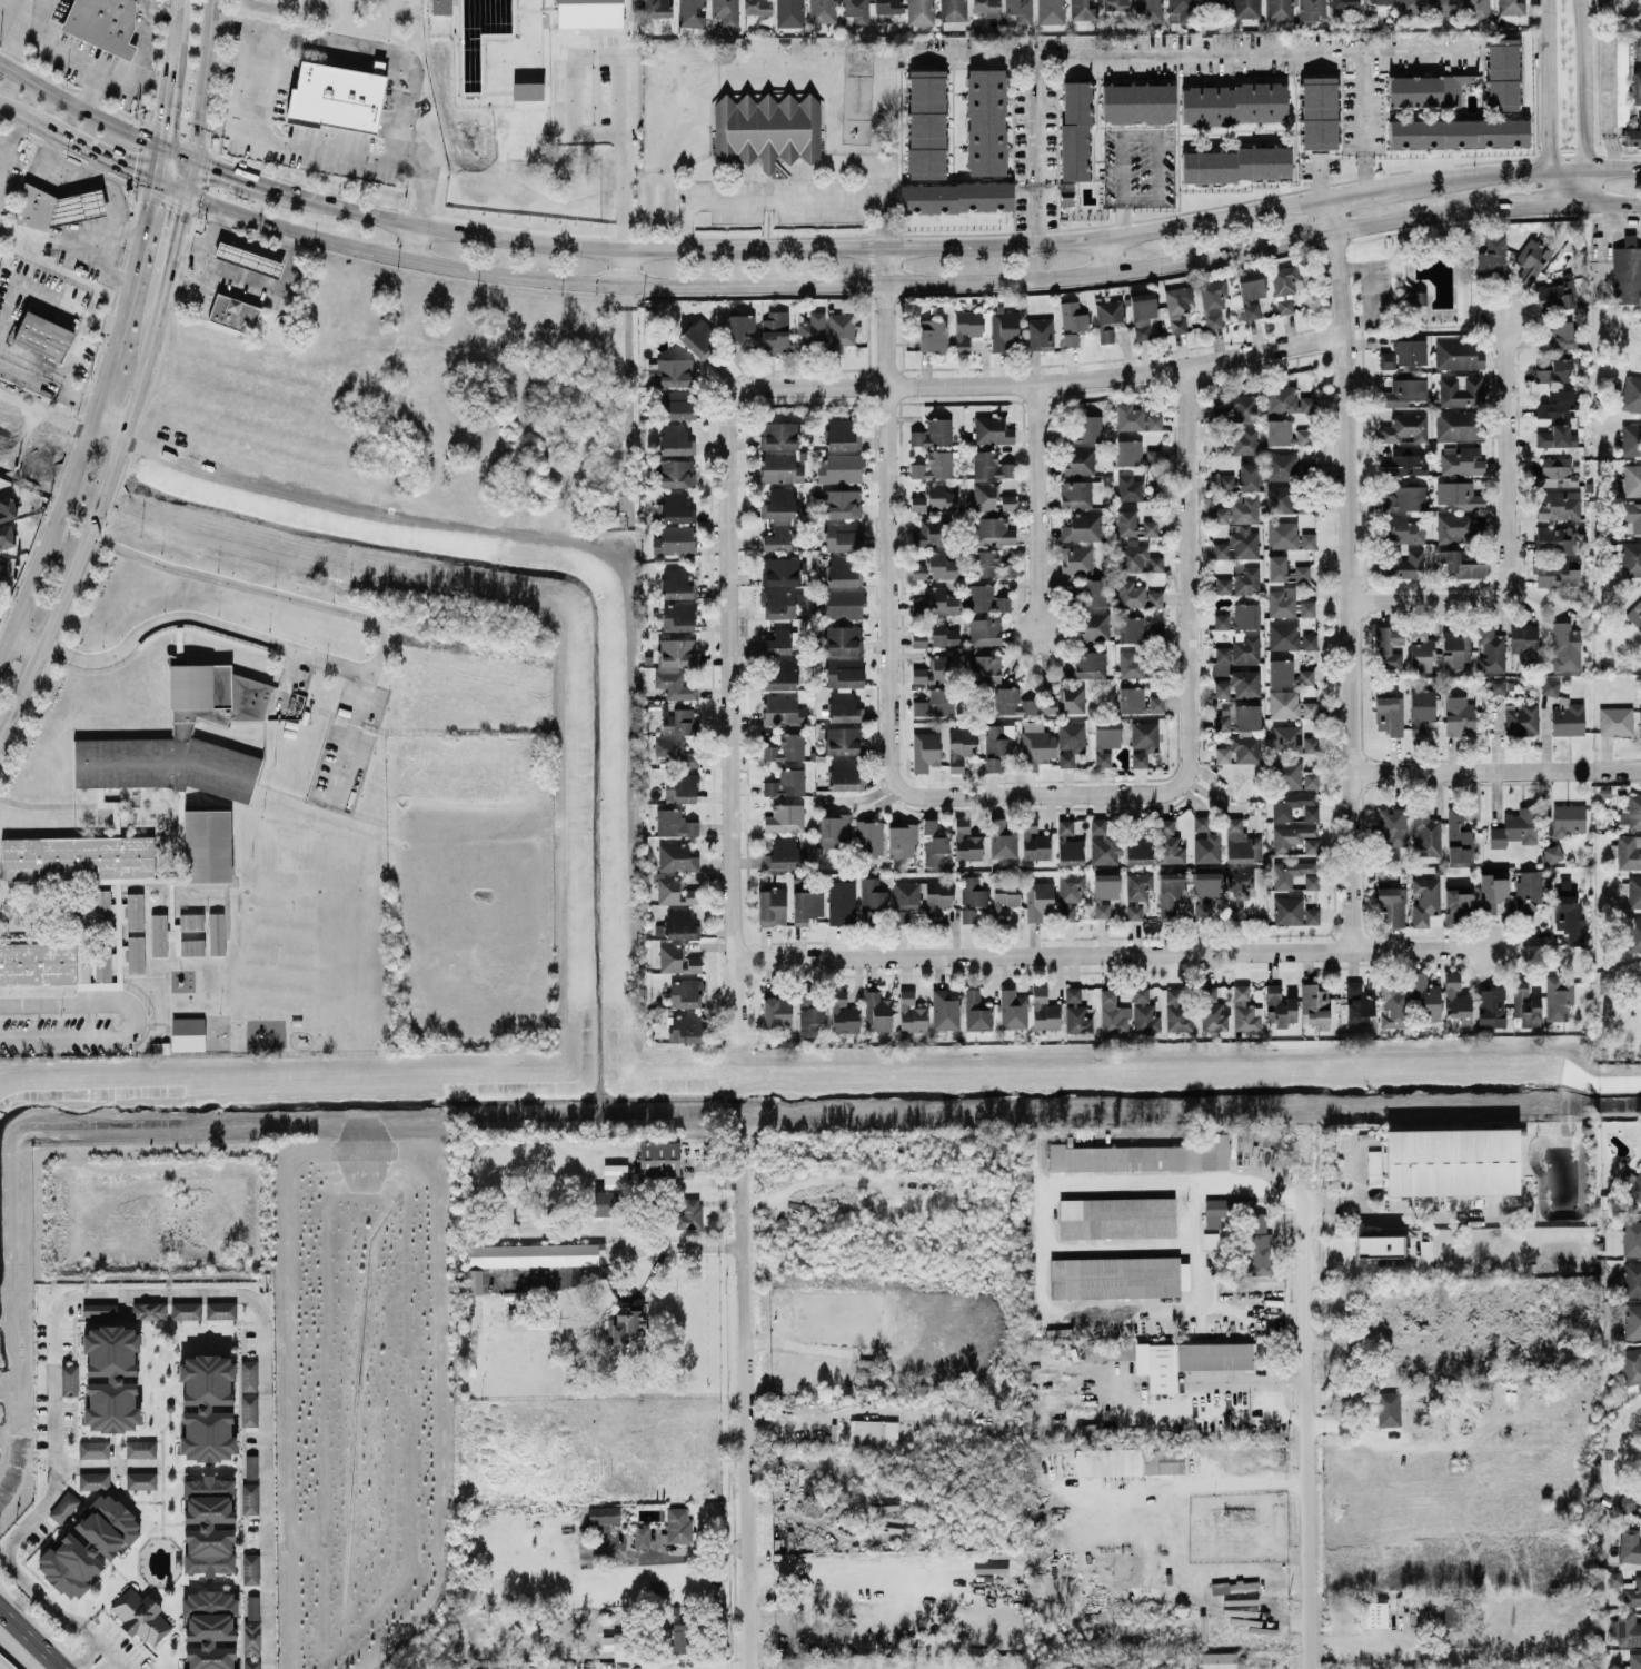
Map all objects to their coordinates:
building: (1382, 1)
building: (1115, 3)
building: (1213, 3)
building: (887, 6)
building: (1342, 6)
building: (441, 7)
building: (986, 7)
building: (1412, 7)
building: (1511, 7)
building: (657, 8)
building: (1246, 8)
building: (1459, 8)
building: (757, 9)
building: (1020, 9)
building: (1182, 9)
building: (1277, 9)
building: (953, 10)
building: (1082, 10)
building: (1147, 10)
building: (1312, 10)
building: (726, 11)
building: (820, 11)
building: (919, 11)
building: (1051, 11)
building: (789, 12)
building: (855, 12)
building: (589, 13)
building: (690, 13)
road: (153, 16)
building: (103, 23)
road: (172, 41)
building: (1637, 44)
road: (1196, 46)
road: (157, 49)
road: (73, 52)
road: (382, 52)
building: (379, 66)
road: (141, 70)
building: (1502, 73)
building: (1621, 73)
road: (202, 78)
road: (1544, 85)
building: (1637, 87)
building: (1426, 89)
building: (527, 90)
building: (335, 97)
building: (1137, 102)
road: (1581, 102)
road: (1608, 102)
building: (1232, 103)
road: (77, 105)
road: (27, 112)
road: (161, 112)
building: (1319, 112)
road: (574, 117)
road: (1365, 118)
building: (986, 121)
building: (926, 123)
building: (767, 129)
building: (1075, 130)
building: (1459, 132)
road: (1158, 133)
building: (1633, 136)
traffic signals: (157, 141)
road: (286, 143)
road: (1037, 143)
road: (4, 146)
road: (175, 148)
road: (0, 152)
road: (102, 152)
traffic signals: (192, 156)
road: (153, 159)
building: (1234, 163)
road: (101, 167)
road: (1593, 168)
road: (231, 170)
road: (189, 175)
road: (1471, 177)
traffic signals: (151, 178)
road: (93, 179)
road: (1321, 179)
road: (1555, 185)
road: (169, 186)
road: (1359, 192)
traffic signals: (187, 195)
building: (956, 197)
road: (784, 198)
road: (1603, 199)
road: (1530, 202)
building: (56, 207)
road: (1118, 216)
road: (177, 234)
road: (210, 237)
road: (191, 242)
road: (415, 242)
road: (794, 248)
road: (1106, 254)
building: (1532, 258)
building: (248, 259)
building: (1627, 271)
road: (242, 272)
building: (1284, 278)
road: (837, 281)
building: (1251, 292)
building: (1555, 294)
building: (1416, 297)
building: (1212, 300)
road: (7, 304)
road: (122, 304)
road: (66, 306)
building: (1284, 306)
building: (1177, 307)
building: (233, 312)
building: (1143, 314)
building: (1072, 316)
building: (1107, 318)
building: (739, 326)
building: (969, 327)
building: (812, 328)
building: (1003, 329)
building: (775, 330)
building: (839, 330)
building: (1040, 332)
building: (933, 335)
building: (43, 336)
building: (1559, 336)
building: (697, 337)
building: (1071, 339)
building: (1410, 351)
building: (1458, 355)
road: (145, 356)
building: (1386, 359)
road: (627, 365)
road: (58, 369)
building: (672, 371)
building: (1553, 371)
road: (1073, 379)
building: (1461, 390)
building: (1403, 391)
building: (1631, 394)
building: (1286, 398)
building: (679, 404)
building: (1555, 404)
building: (1243, 407)
building: (1135, 418)
road: (109, 419)
building: (1453, 424)
building: (1404, 427)
building: (992, 429)
building: (1082, 429)
building: (1280, 431)
building: (933, 433)
building: (842, 434)
building: (778, 435)
building: (1303, 436)
building: (1557, 436)
building: (675, 439)
building: (1631, 439)
building: (1222, 441)
building: (1244, 441)
building: (1128, 451)
building: (1153, 457)
building: (1078, 460)
building: (1404, 460)
building: (1462, 460)
building: (933, 465)
building: (991, 465)
road: (74, 466)
building: (1282, 466)
building: (780, 468)
building: (839, 468)
building: (676, 473)
building: (1553, 473)
road: (108, 477)
building: (1241, 478)
building: (1631, 480)
building: (1128, 487)
building: (1077, 493)
building: (1459, 495)
building: (938, 497)
building: (991, 497)
building: (1404, 498)
building: (1285, 500)
building: (778, 503)
building: (841, 503)
building: (917, 503)
building: (1559, 504)
building: (676, 507)
road: (1041, 507)
building: (7, 508)
road: (893, 515)
building: (1631, 516)
building: (1126, 523)
building: (1082, 527)
building: (1150, 527)
building: (1237, 527)
building: (1454, 527)
building: (1402, 528)
road: (1508, 529)
building: (993, 530)
building: (928, 533)
building: (844, 534)
building: (1282, 534)
building: (6, 536)
building: (777, 538)
building: (675, 539)
building: (1307, 539)
building: (1555, 539)
building: (1136, 557)
building: (1631, 558)
building: (1076, 559)
building: (992, 565)
building: (1461, 565)
building: (936, 566)
road: (36, 567)
building: (1403, 567)
building: (1285, 569)
building: (1, 570)
building: (843, 570)
building: (1555, 570)
building: (782, 572)
road: (1350, 574)
road: (68, 579)
road: (1190, 580)
building: (1240, 580)
building: (677, 584)
road: (257, 588)
building: (1088, 593)
building: (1137, 595)
building: (986, 598)
building: (935, 602)
building: (1281, 602)
building: (780, 603)
building: (842, 604)
building: (1307, 607)
building: (1637, 609)
building: (678, 616)
building: (1239, 617)
road: (202, 618)
building: (1094, 626)
building: (1130, 629)
building: (984, 630)
building: (942, 634)
building: (1155, 634)
road: (26, 636)
building: (1290, 637)
building: (918, 638)
building: (843, 639)
road: (6, 640)
building: (777, 642)
building: (1389, 645)
building: (1524, 645)
building: (1565, 646)
building: (1452, 648)
building: (1490, 648)
building: (1239, 649)
road: (733, 650)
building: (1421, 650)
building: (676, 652)
building: (1128, 663)
building: (1090, 664)
building: (984, 667)
building: (935, 669)
building: (844, 672)
building: (1287, 673)
building: (780, 674)
road: (289, 680)
building: (1240, 684)
building: (675, 685)
building: (1498, 685)
building: (1550, 686)
road: (20, 687)
building: (1066, 699)
building: (1138, 701)
building: (1012, 702)
building: (934, 703)
building: (1283, 703)
building: (844, 707)
building: (1309, 708)
building: (783, 711)
building: (1421, 711)
building: (1390, 714)
building: (1459, 716)
building: (1237, 717)
building: (1568, 717)
building: (1521, 718)
building: (1615, 721)
building: (679, 722)
building: (1640, 723)
road: (352, 738)
building: (1286, 738)
building: (183, 739)
building: (843, 741)
building: (1105, 741)
building: (1036, 742)
building: (1070, 742)
building: (1143, 742)
building: (997, 744)
building: (1310, 744)
building: (786, 747)
building: (959, 747)
building: (1245, 748)
building: (925, 751)
building: (675, 753)
building: (1222, 754)
road: (1496, 772)
building: (1286, 773)
building: (845, 774)
building: (1310, 778)
building: (786, 783)
building: (680, 787)
road: (1034, 795)
building: (1632, 812)
building: (1281, 813)
building: (785, 817)
building: (1568, 818)
building: (675, 823)
building: (929, 825)
building: (1392, 826)
building: (1515, 827)
building: (834, 829)
building: (1425, 833)
building: (1458, 836)
building: (1294, 837)
building: (1003, 838)
building: (868, 840)
building: (902, 840)
building: (966, 841)
building: (1034, 841)
building: (1205, 842)
building: (1168, 843)
building: (1241, 843)
building: (1068, 844)
building: (1103, 844)
building: (209, 846)
building: (935, 848)
building: (1138, 851)
building: (1629, 851)
building: (783, 853)
building: (1552, 853)
building: (676, 857)
building: (76, 858)
building: (1294, 872)
building: (1209, 883)
building: (1632, 890)
building: (674, 891)
building: (1528, 891)
building: (972, 892)
building: (1237, 892)
building: (1104, 893)
building: (1137, 893)
building: (1170, 893)
building: (1492, 893)
building: (1070, 894)
building: (922, 897)
building: (1004, 898)
building: (871, 900)
building: (1038, 900)
building: (1424, 900)
building: (1458, 901)
building: (841, 902)
building: (1391, 905)
building: (772, 906)
building: (806, 906)
building: (101, 908)
building: (1202, 908)
building: (1287, 910)
building: (135, 911)
building: (1311, 915)
building: (1569, 916)
building: (190, 922)
building: (680, 924)
building: (216, 934)
building: (1633, 934)
building: (158, 935)
building: (192, 948)
building: (136, 954)
road: (1116, 954)
building: (672, 958)
building: (102, 960)
building: (38, 963)
building: (694, 963)
building: (1639, 987)
building: (686, 992)
building: (1558, 997)
building: (1456, 999)
building: (1409, 1001)
road: (739, 1002)
building: (1357, 1003)
building: (1314, 1005)
building: (1524, 1005)
building: (1280, 1006)
building: (1491, 1007)
building: (1012, 1009)
building: (776, 1010)
building: (1212, 1010)
building: (1244, 1010)
building: (958, 1011)
building: (1044, 1011)
building: (1144, 1011)
building: (876, 1012)
building: (911, 1012)
building: (1076, 1012)
building: (1113, 1012)
building: (1176, 1012)
building: (809, 1013)
building: (843, 1013)
road: (133, 1017)
building: (684, 1027)
building: (188, 1033)
building: (1142, 1155)
building: (658, 1159)
building: (1451, 1161)
road: (1356, 1168)
building: (1374, 1168)
building: (1631, 1184)
building: (604, 1202)
building: (1231, 1211)
building: (689, 1214)
road: (1402, 1214)
building: (1116, 1216)
building: (1631, 1238)
building: (1379, 1245)
road: (1041, 1252)
building: (534, 1254)
road: (614, 1255)
building: (1259, 1256)
building: (1117, 1276)
building: (1632, 1279)
building: (474, 1282)
road: (156, 1294)
building: (99, 1309)
building: (220, 1309)
building: (149, 1310)
building: (186, 1310)
building: (1632, 1320)
building: (626, 1322)
building: (1108, 1351)
building: (1187, 1360)
building: (1631, 1364)
building: (248, 1374)
building: (110, 1378)
building: (69, 1379)
road: (1216, 1389)
road: (1276, 1394)
building: (207, 1407)
building: (1389, 1408)
building: (249, 1410)
road: (1305, 1418)
road: (747, 1422)
building: (874, 1433)
building: (140, 1448)
building: (93, 1449)
building: (1107, 1461)
road: (107, 1463)
building: (251, 1466)
building: (93, 1480)
building: (140, 1480)
building: (249, 1498)
building: (1625, 1502)
building: (63, 1507)
building: (604, 1513)
building: (678, 1523)
building: (208, 1524)
building: (640, 1536)
building: (88, 1544)
building: (1629, 1546)
road: (674, 1556)
building: (250, 1568)
road: (857, 1571)
building: (1613, 1578)
building: (654, 1590)
building: (1632, 1592)
building: (1372, 1613)
building: (1449, 1613)
building: (140, 1616)
building: (251, 1625)
building: (209, 1628)
building: (1628, 1628)
road: (32, 1637)
building: (679, 1637)
building: (610, 1641)
road: (109, 1647)
road: (86, 1655)
building: (1216, 1660)
road: (109, 1661)
building: (1633, 1661)
building: (252, 1663)
road: (727, 1665)
road: (1, 1667)

